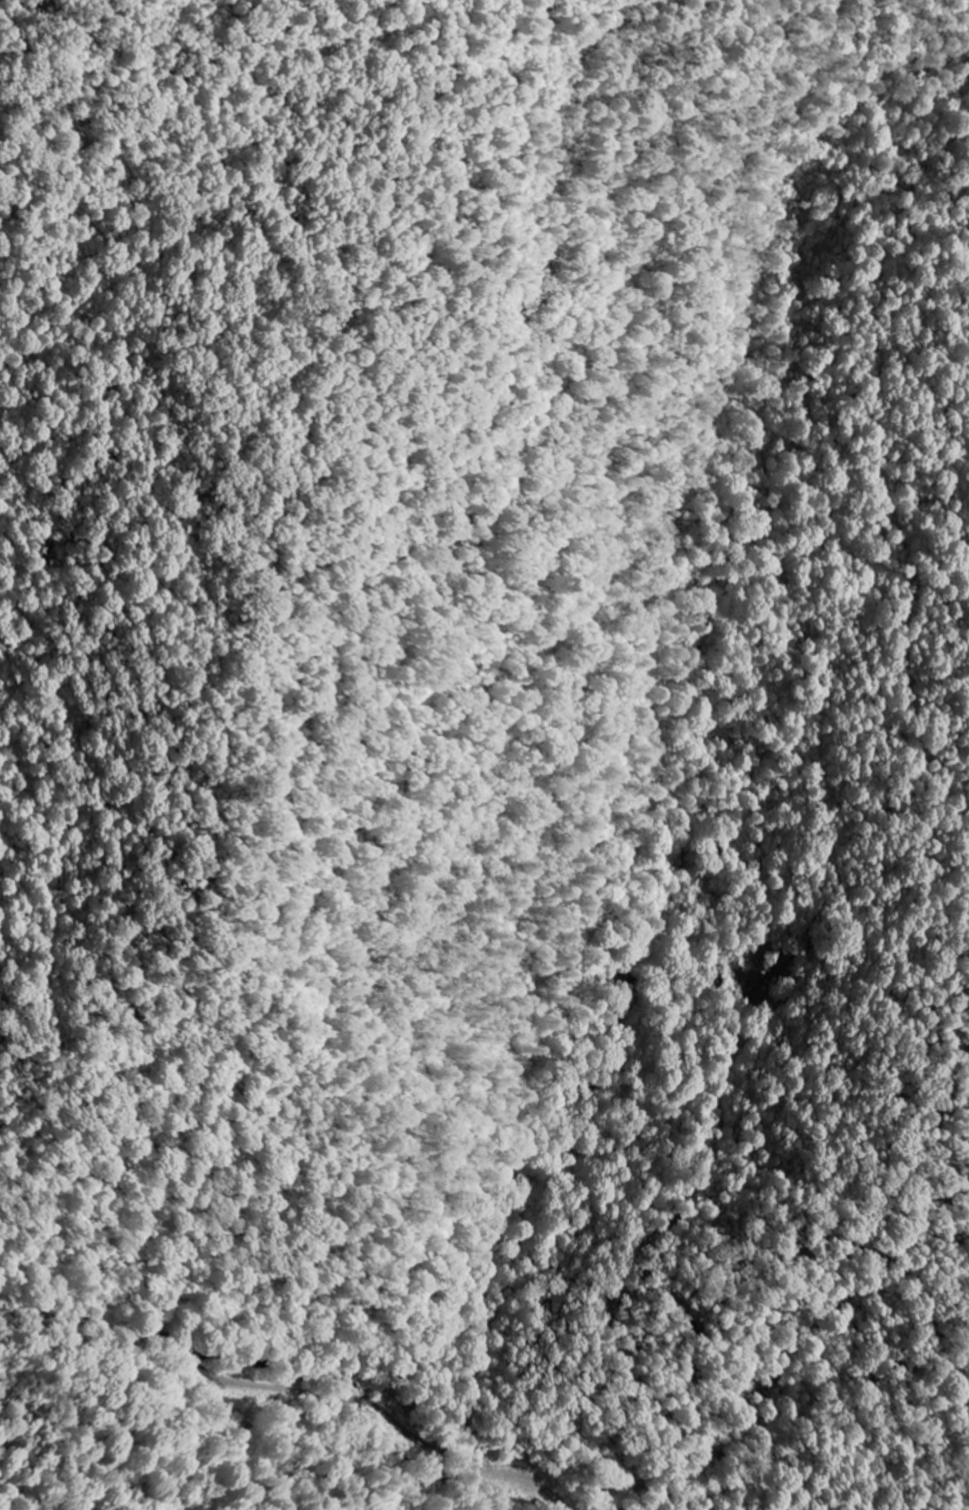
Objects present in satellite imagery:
road: (307, 1376)

